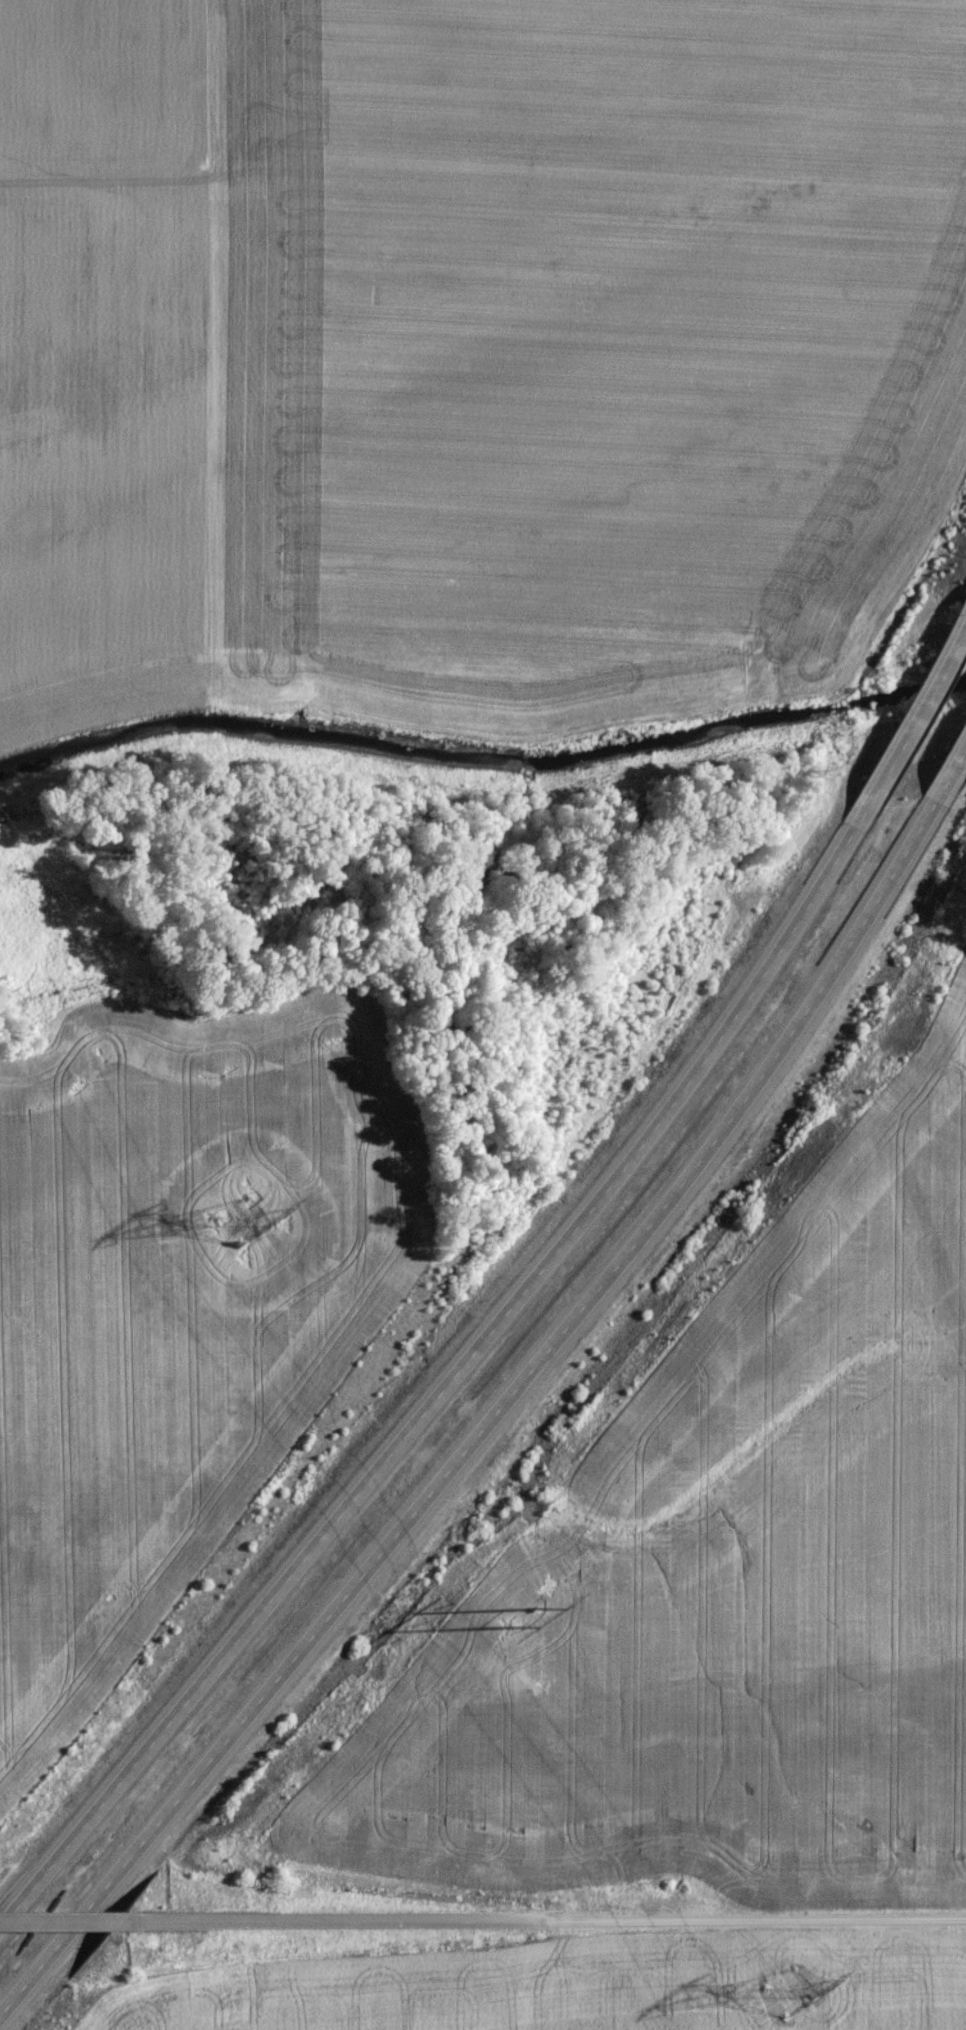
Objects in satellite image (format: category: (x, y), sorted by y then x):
road: (107, 182)
road: (916, 727)
road: (943, 814)
power tower: (239, 1224)
road: (442, 1389)
road: (470, 1453)
power tower: (523, 1619)
road: (556, 1924)
road: (73, 1927)
power tower: (811, 1992)

